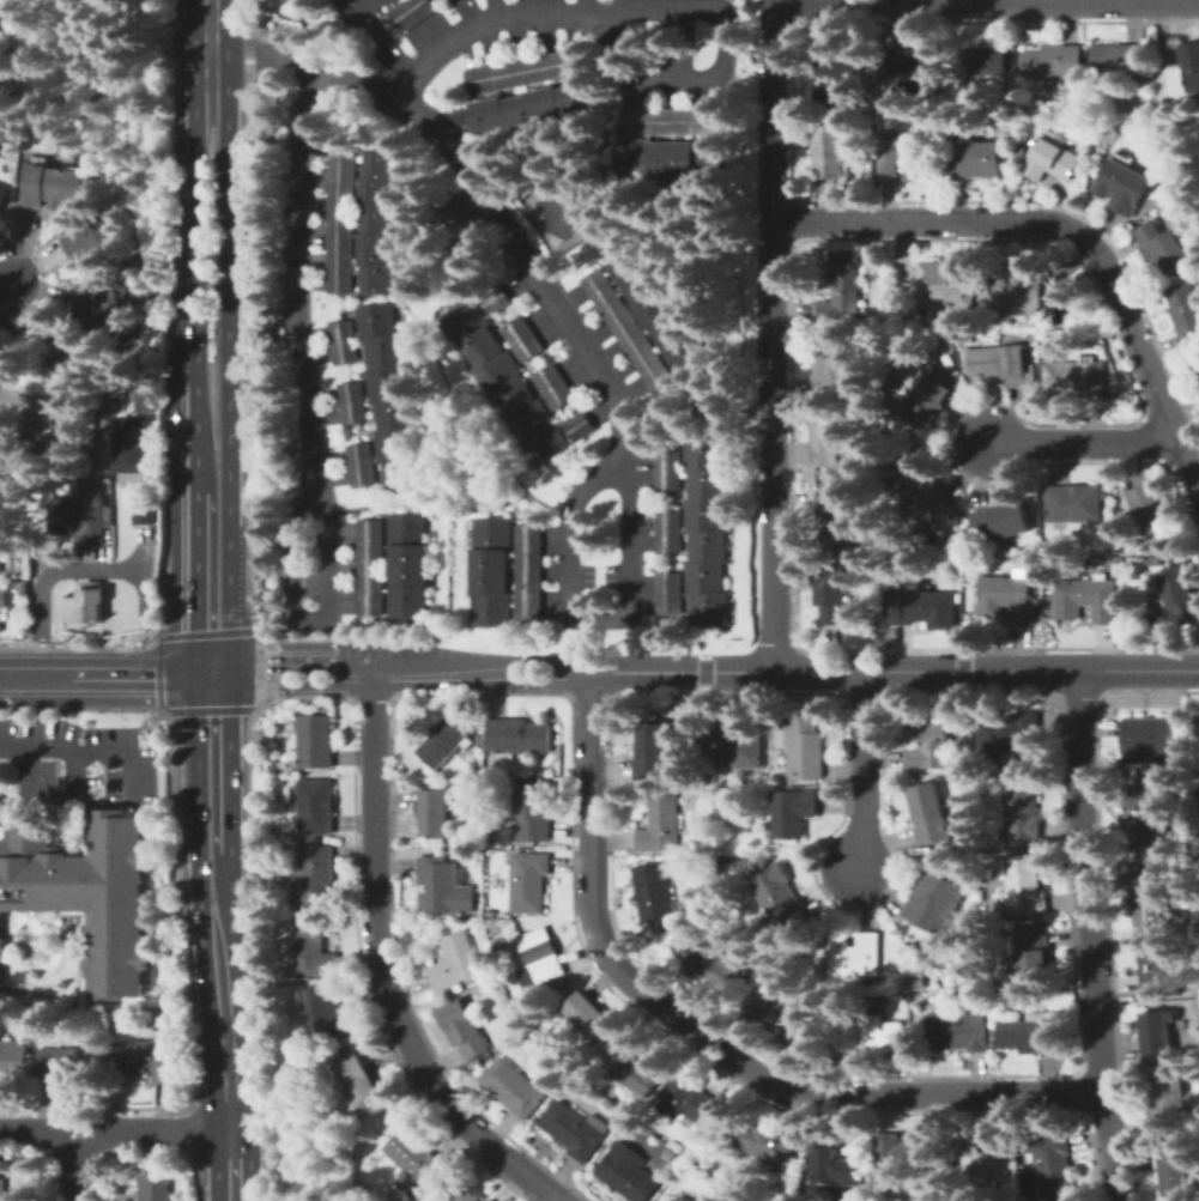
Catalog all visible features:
road: (987, 5)
building: (2, 8)
building: (362, 10)
building: (413, 12)
road: (499, 18)
road: (211, 23)
building: (375, 37)
building: (912, 59)
building: (985, 61)
building: (1052, 62)
building: (1119, 62)
building: (1191, 65)
building: (526, 71)
building: (838, 81)
road: (682, 83)
building: (1073, 90)
building: (534, 108)
building: (1009, 119)
building: (674, 121)
building: (939, 141)
building: (831, 151)
building: (902, 157)
building: (1053, 157)
building: (671, 159)
building: (977, 160)
building: (1019, 165)
building: (1124, 186)
building: (54, 187)
building: (2, 195)
road: (194, 207)
building: (344, 220)
building: (382, 220)
road: (1068, 231)
building: (95, 241)
building: (1164, 248)
road: (523, 249)
road: (228, 253)
road: (4, 283)
building: (947, 285)
building: (1018, 287)
building: (841, 295)
building: (499, 299)
building: (108, 305)
building: (659, 308)
building: (1186, 314)
building: (630, 330)
road: (775, 335)
building: (525, 339)
building: (345, 342)
building: (67, 351)
building: (1001, 364)
building: (1197, 364)
building: (834, 366)
building: (1077, 378)
building: (508, 382)
building: (555, 387)
building: (390, 398)
building: (929, 402)
building: (353, 404)
building: (57, 418)
road: (194, 418)
road: (309, 425)
building: (580, 427)
building: (828, 443)
building: (132, 444)
road: (1085, 444)
building: (362, 465)
building: (668, 469)
building: (6, 472)
road: (213, 477)
building: (104, 484)
building: (922, 492)
building: (1076, 503)
building: (1150, 509)
building: (145, 514)
building: (79, 516)
building: (835, 520)
building: (1003, 521)
building: (668, 532)
building: (707, 532)
building: (1, 548)
building: (964, 548)
road: (569, 550)
road: (235, 560)
building: (1155, 562)
building: (408, 566)
building: (373, 568)
building: (491, 571)
building: (528, 572)
road: (49, 577)
road: (213, 581)
building: (22, 587)
building: (830, 592)
building: (670, 593)
building: (1181, 593)
building: (1011, 598)
building: (1088, 600)
building: (86, 603)
building: (4, 605)
building: (925, 608)
building: (1152, 620)
road: (297, 659)
road: (541, 662)
road: (35, 671)
road: (143, 671)
traffic signals: (214, 671)
road: (986, 671)
road: (683, 672)
road: (434, 675)
road: (543, 685)
road: (293, 686)
building: (1011, 732)
building: (520, 735)
building: (1197, 736)
building: (1152, 740)
building: (315, 741)
building: (446, 744)
building: (929, 746)
building: (1195, 747)
building: (734, 748)
building: (805, 748)
road: (90, 753)
building: (652, 753)
road: (865, 770)
road: (77, 781)
building: (278, 785)
road: (25, 787)
road: (194, 790)
building: (315, 807)
building: (2, 808)
building: (1023, 811)
building: (435, 812)
building: (532, 812)
building: (794, 812)
road: (2, 813)
building: (929, 814)
building: (1149, 817)
building: (660, 824)
building: (660, 857)
building: (316, 873)
building: (529, 882)
building: (443, 886)
building: (1025, 886)
building: (87, 893)
building: (656, 893)
building: (782, 899)
building: (1149, 899)
building: (935, 903)
building: (289, 914)
building: (492, 914)
road: (218, 935)
road: (1090, 935)
building: (314, 947)
building: (856, 953)
building: (1036, 954)
building: (540, 957)
building: (455, 962)
building: (716, 968)
building: (1164, 968)
road: (382, 971)
building: (918, 982)
building: (521, 1002)
building: (326, 1009)
building: (588, 1014)
building: (526, 1015)
building: (780, 1015)
building: (516, 1020)
building: (462, 1027)
building: (958, 1031)
building: (871, 1032)
building: (1159, 1033)
building: (1033, 1036)
road: (706, 1038)
building: (289, 1054)
building: (14, 1060)
building: (145, 1061)
building: (71, 1062)
building: (641, 1068)
building: (359, 1081)
building: (515, 1087)
building: (694, 1102)
building: (1168, 1103)
road: (115, 1130)
building: (573, 1130)
building: (764, 1142)
building: (906, 1151)
building: (414, 1159)
building: (989, 1160)
road: (71, 1166)
building: (1056, 1166)
building: (836, 1169)
building: (1174, 1171)
building: (628, 1176)
building: (155, 1188)
building: (16, 1193)
building: (471, 1195)
building: (398, 1199)
building: (683, 1199)
building: (490, 1200)

